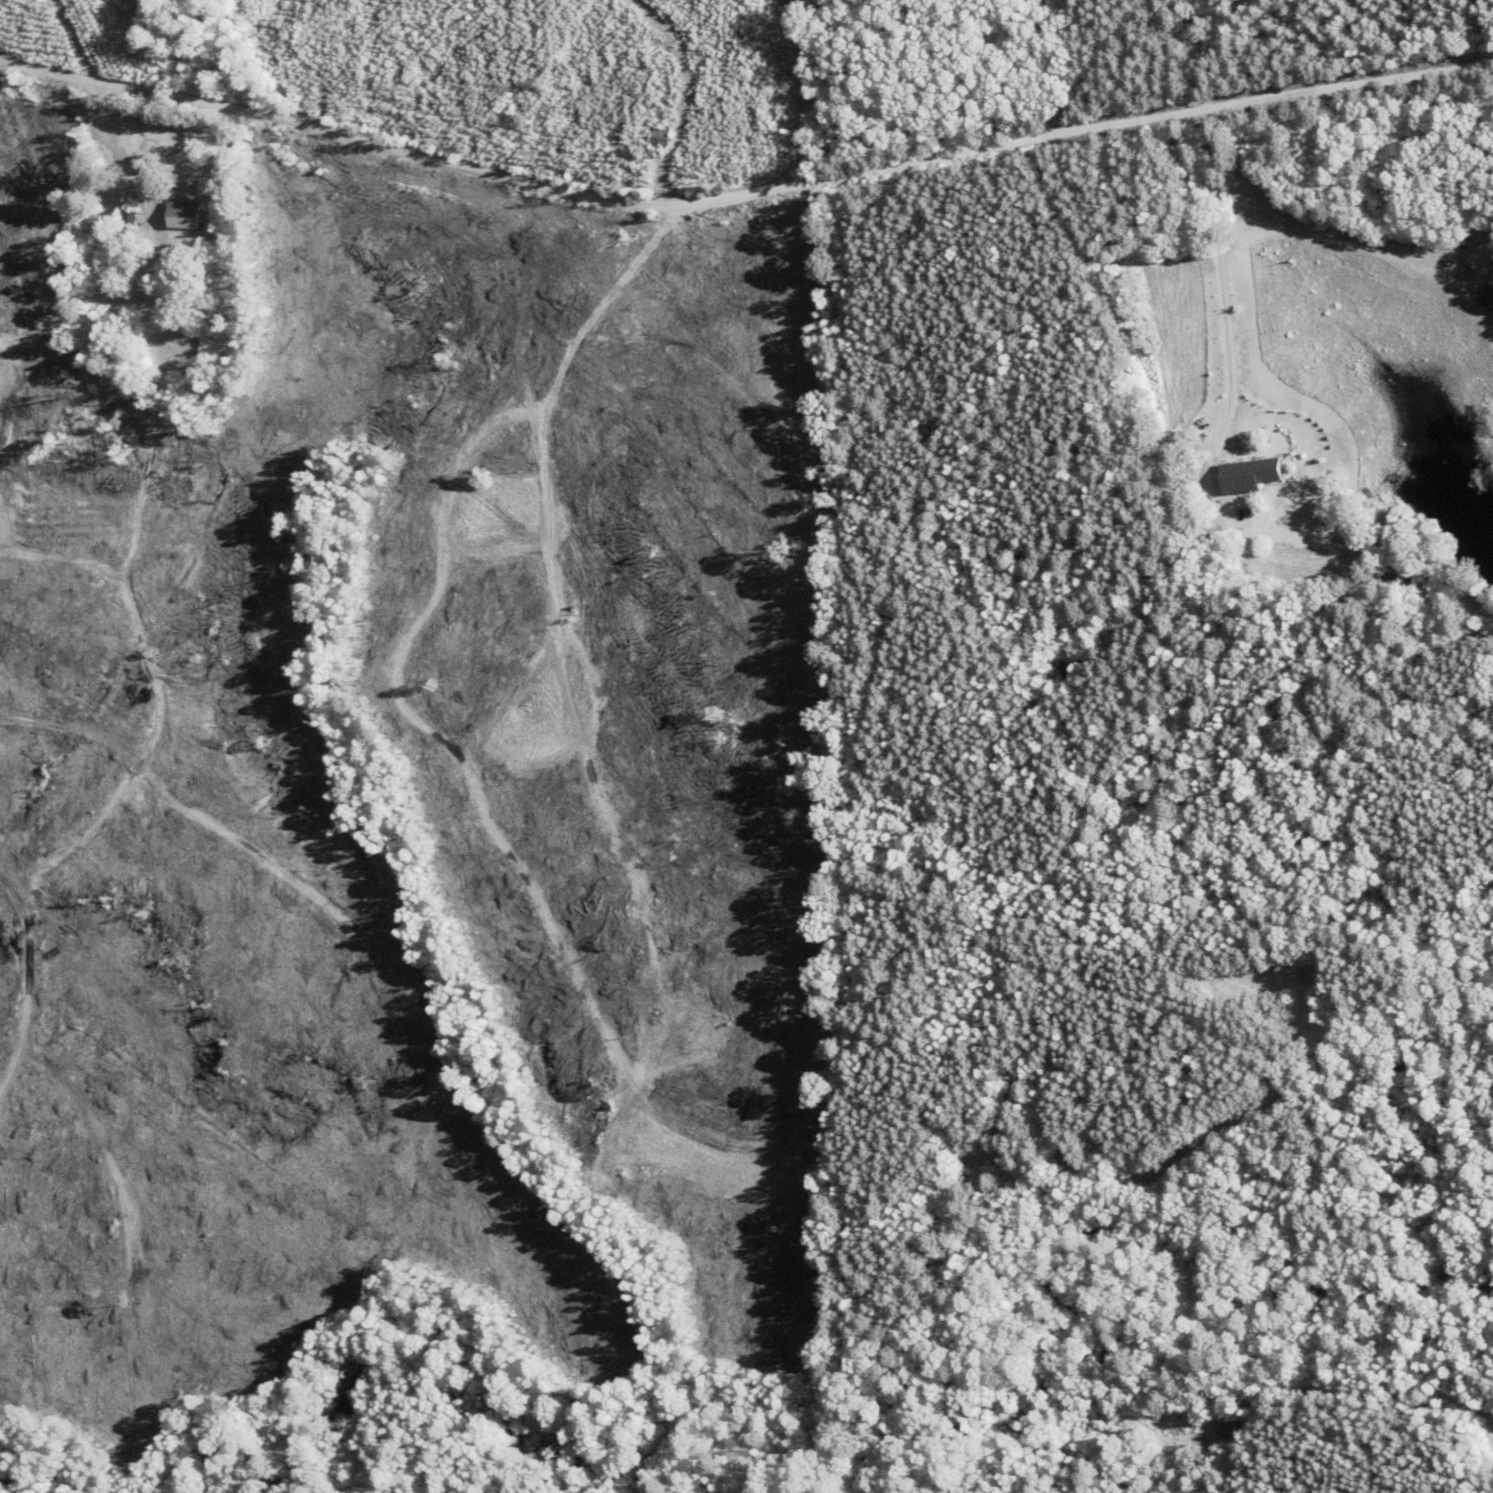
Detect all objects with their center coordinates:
road: (743, 195)
road: (1232, 279)

